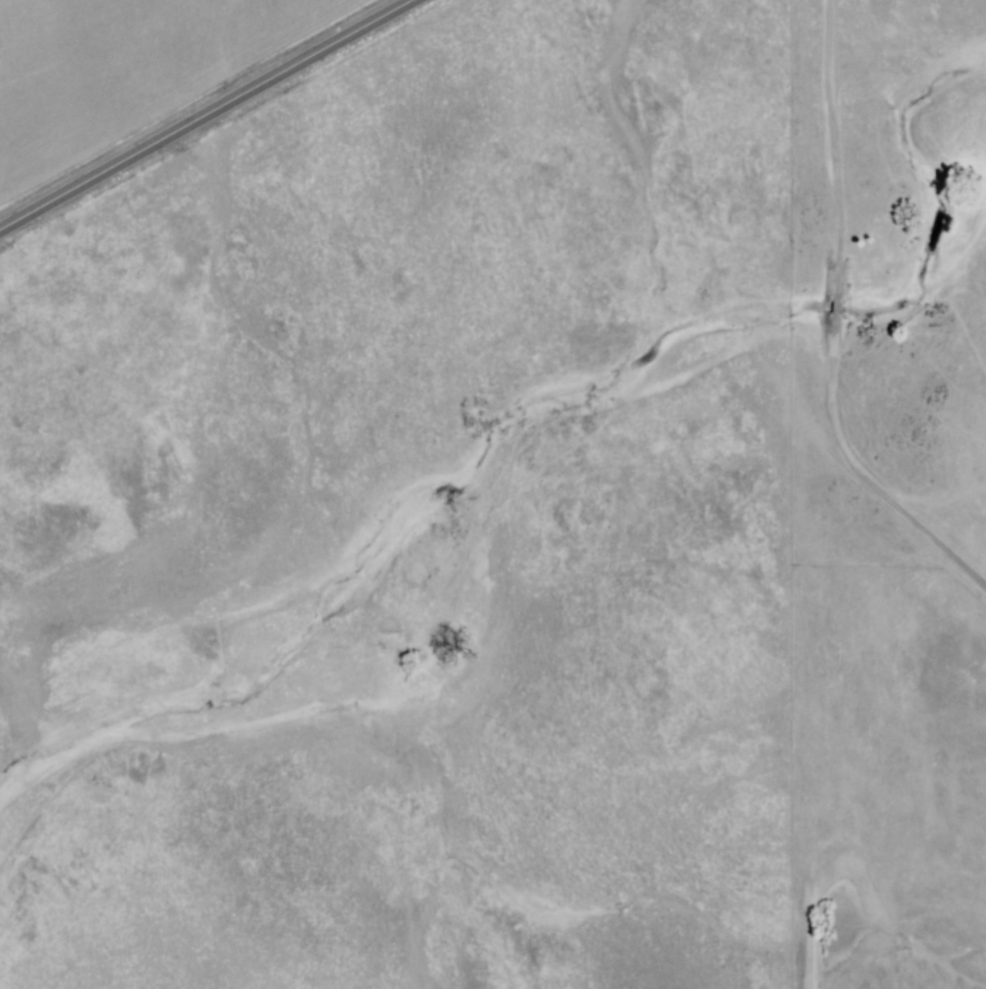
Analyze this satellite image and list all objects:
road: (206, 115)
road: (832, 326)

